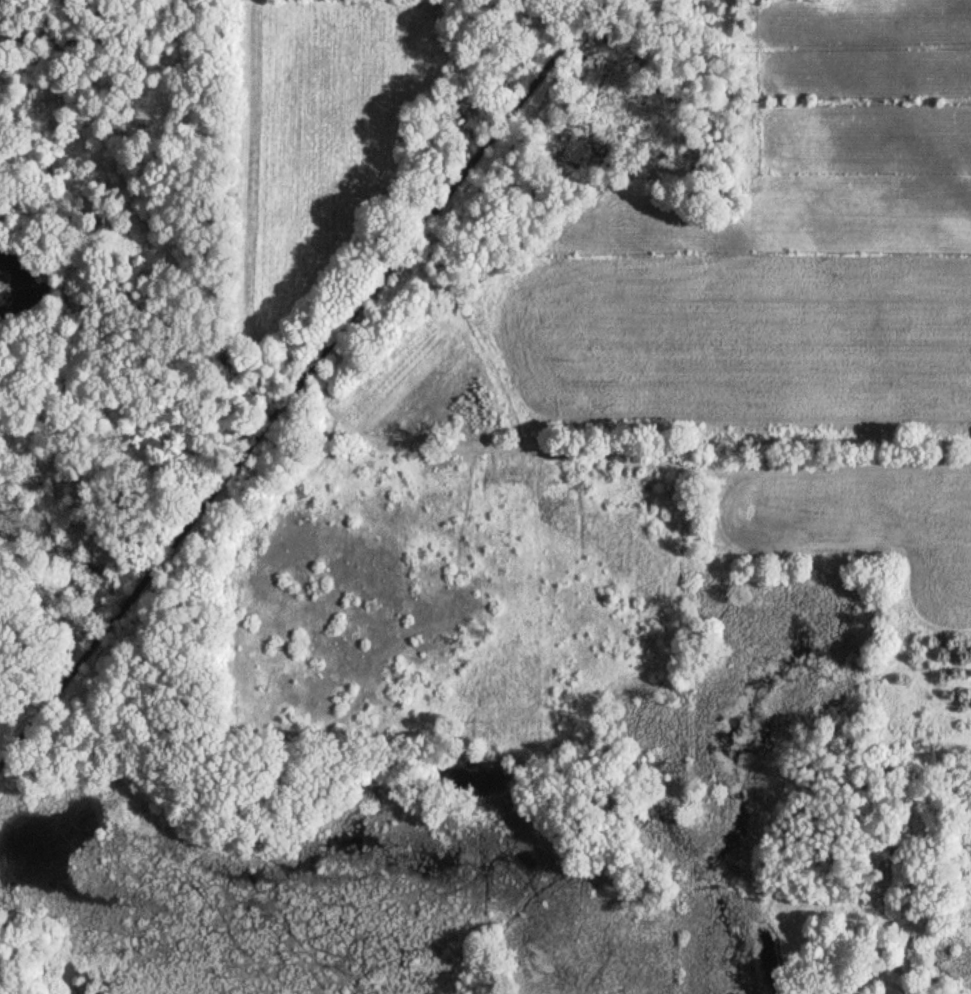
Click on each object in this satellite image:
road: (301, 379)

